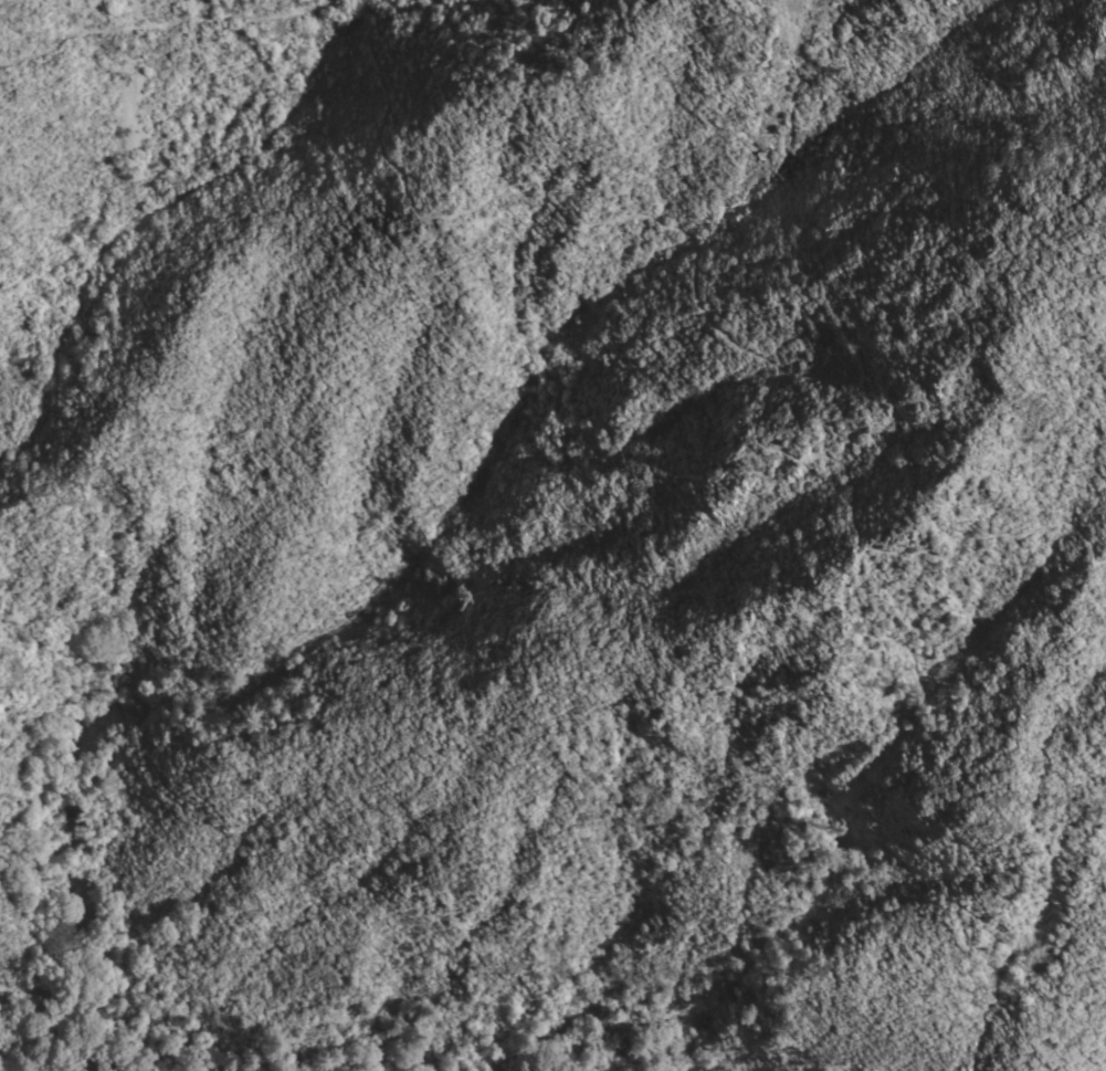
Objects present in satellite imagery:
road: (610, 217)

